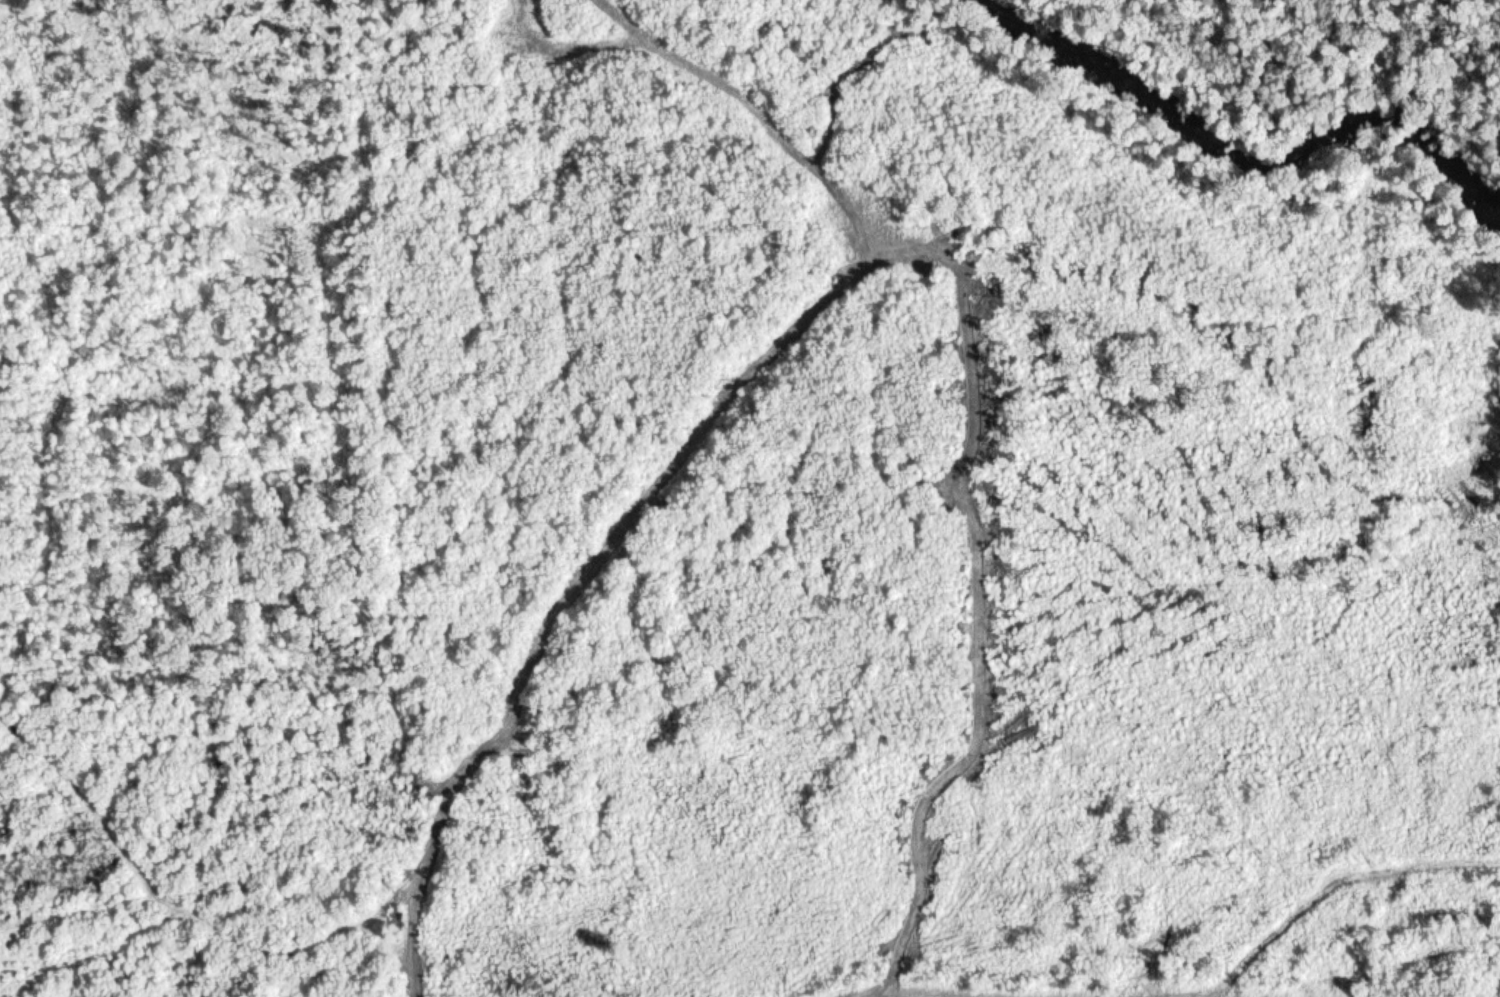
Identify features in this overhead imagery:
river: (1250, 163)
building: (398, 918)

